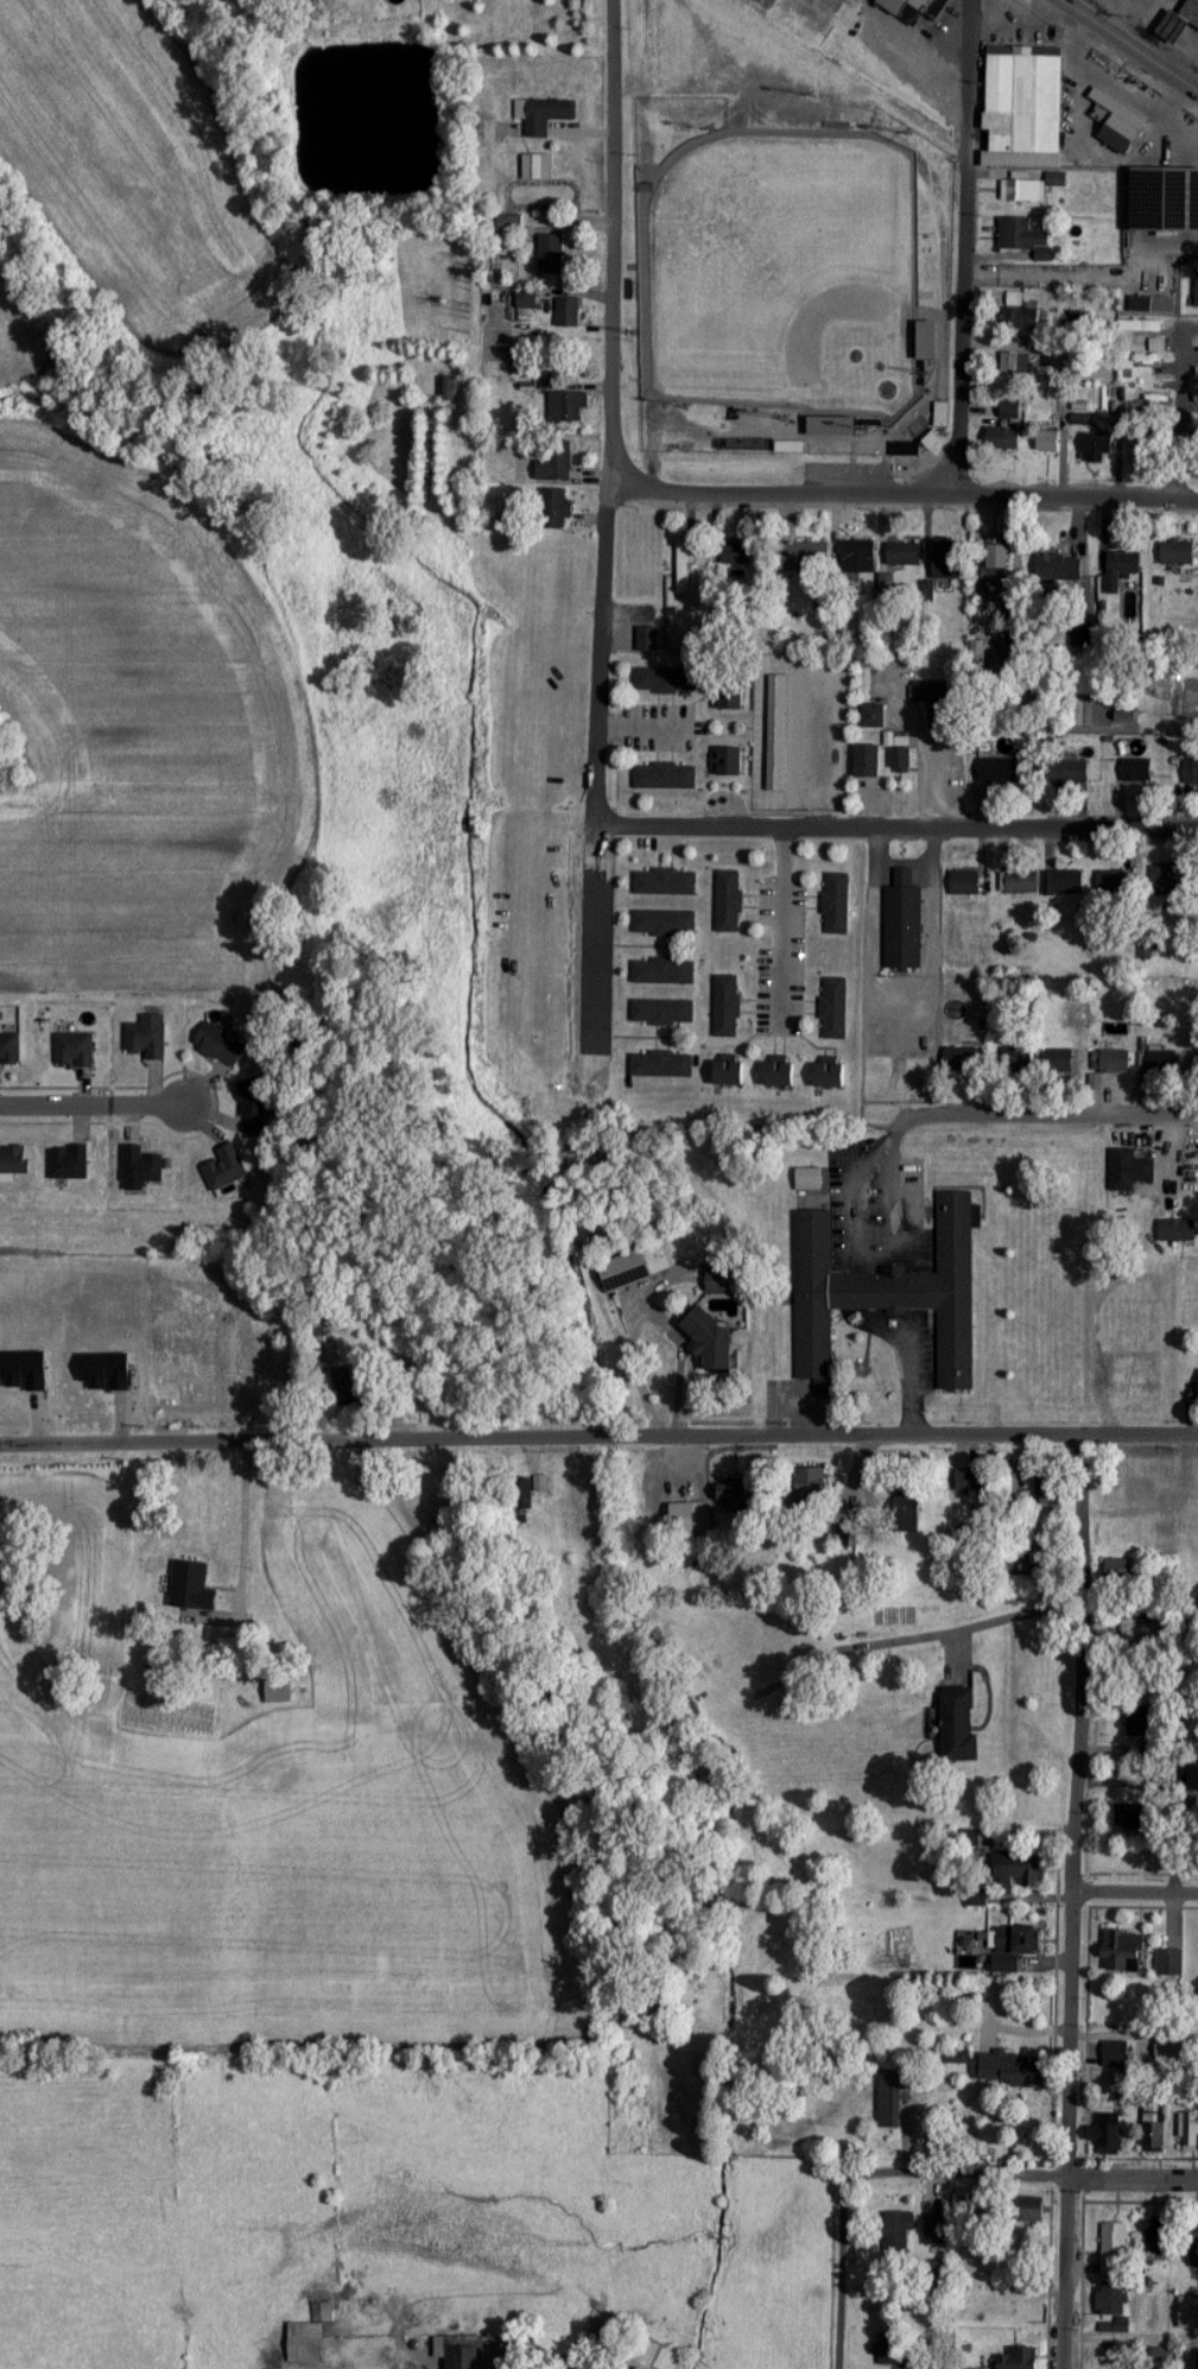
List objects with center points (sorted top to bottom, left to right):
building: (1191, 12)
road: (1126, 47)
road: (711, 85)
building: (1026, 101)
building: (543, 116)
building: (1121, 123)
building: (1185, 135)
building: (538, 169)
building: (1021, 188)
building: (1025, 237)
road: (968, 246)
road: (611, 247)
building: (551, 254)
park: (781, 272)
building: (1137, 286)
building: (527, 300)
building: (568, 312)
building: (1020, 319)
building: (1140, 327)
building: (930, 341)
building: (1147, 361)
building: (1016, 363)
building: (1153, 398)
building: (569, 407)
road: (1178, 414)
building: (833, 426)
building: (1048, 437)
building: (934, 439)
building: (1003, 439)
building: (906, 450)
building: (557, 463)
road: (904, 493)
building: (554, 508)
building: (1178, 553)
building: (737, 555)
building: (904, 555)
building: (807, 557)
building: (858, 557)
building: (951, 560)
building: (997, 563)
building: (685, 568)
building: (1060, 569)
building: (1121, 569)
road: (598, 660)
building: (666, 680)
building: (731, 696)
building: (938, 715)
building: (876, 716)
road: (777, 742)
building: (900, 760)
building: (731, 761)
building: (868, 761)
building: (1000, 771)
building: (1136, 772)
building: (666, 775)
building: (1077, 775)
road: (817, 813)
road: (691, 828)
road: (990, 828)
building: (1020, 881)
building: (665, 882)
building: (965, 882)
building: (1066, 882)
building: (1114, 883)
building: (729, 901)
building: (837, 904)
building: (665, 923)
building: (904, 923)
road: (784, 930)
road: (595, 957)
building: (664, 971)
building: (727, 1006)
building: (835, 1008)
building: (663, 1012)
building: (147, 1040)
building: (222, 1045)
building: (9, 1051)
building: (75, 1051)
building: (961, 1059)
building: (1016, 1060)
building: (1160, 1063)
building: (663, 1064)
building: (1111, 1064)
building: (1057, 1068)
building: (730, 1073)
building: (780, 1075)
building: (831, 1075)
road: (96, 1108)
road: (911, 1110)
building: (14, 1161)
building: (70, 1163)
building: (142, 1165)
building: (1130, 1170)
building: (810, 1179)
building: (1178, 1230)
building: (888, 1292)
road: (1095, 1341)
building: (714, 1345)
building: (329, 1353)
building: (343, 1387)
road: (911, 1387)
building: (1012, 1393)
road: (1006, 1437)
road: (406, 1438)
building: (970, 1482)
building: (818, 1483)
building: (1143, 1491)
building: (1047, 1493)
building: (691, 1518)
road: (248, 1566)
building: (1118, 1571)
building: (192, 1590)
road: (996, 1623)
building: (1145, 1632)
building: (959, 1724)
building: (1133, 1820)
building: (1020, 1870)
road: (1132, 1900)
road: (1066, 1902)
building: (1016, 1947)
building: (1124, 1952)
building: (1170, 1963)
road: (1132, 2040)
building: (1167, 2051)
building: (1116, 2054)
building: (1013, 2071)
building: (892, 2097)
building: (1155, 2129)
building: (1189, 2134)
building: (1107, 2135)
road: (1056, 2177)
building: (1034, 2211)
building: (936, 2230)
building: (898, 2232)
building: (1158, 2237)
road: (838, 2241)
building: (1115, 2247)
building: (1194, 2251)
building: (1115, 2305)
road: (673, 2310)
building: (322, 2312)
building: (1189, 2314)
road: (1168, 2336)
building: (306, 2344)
building: (888, 2350)
building: (467, 2352)
building: (1018, 2360)

